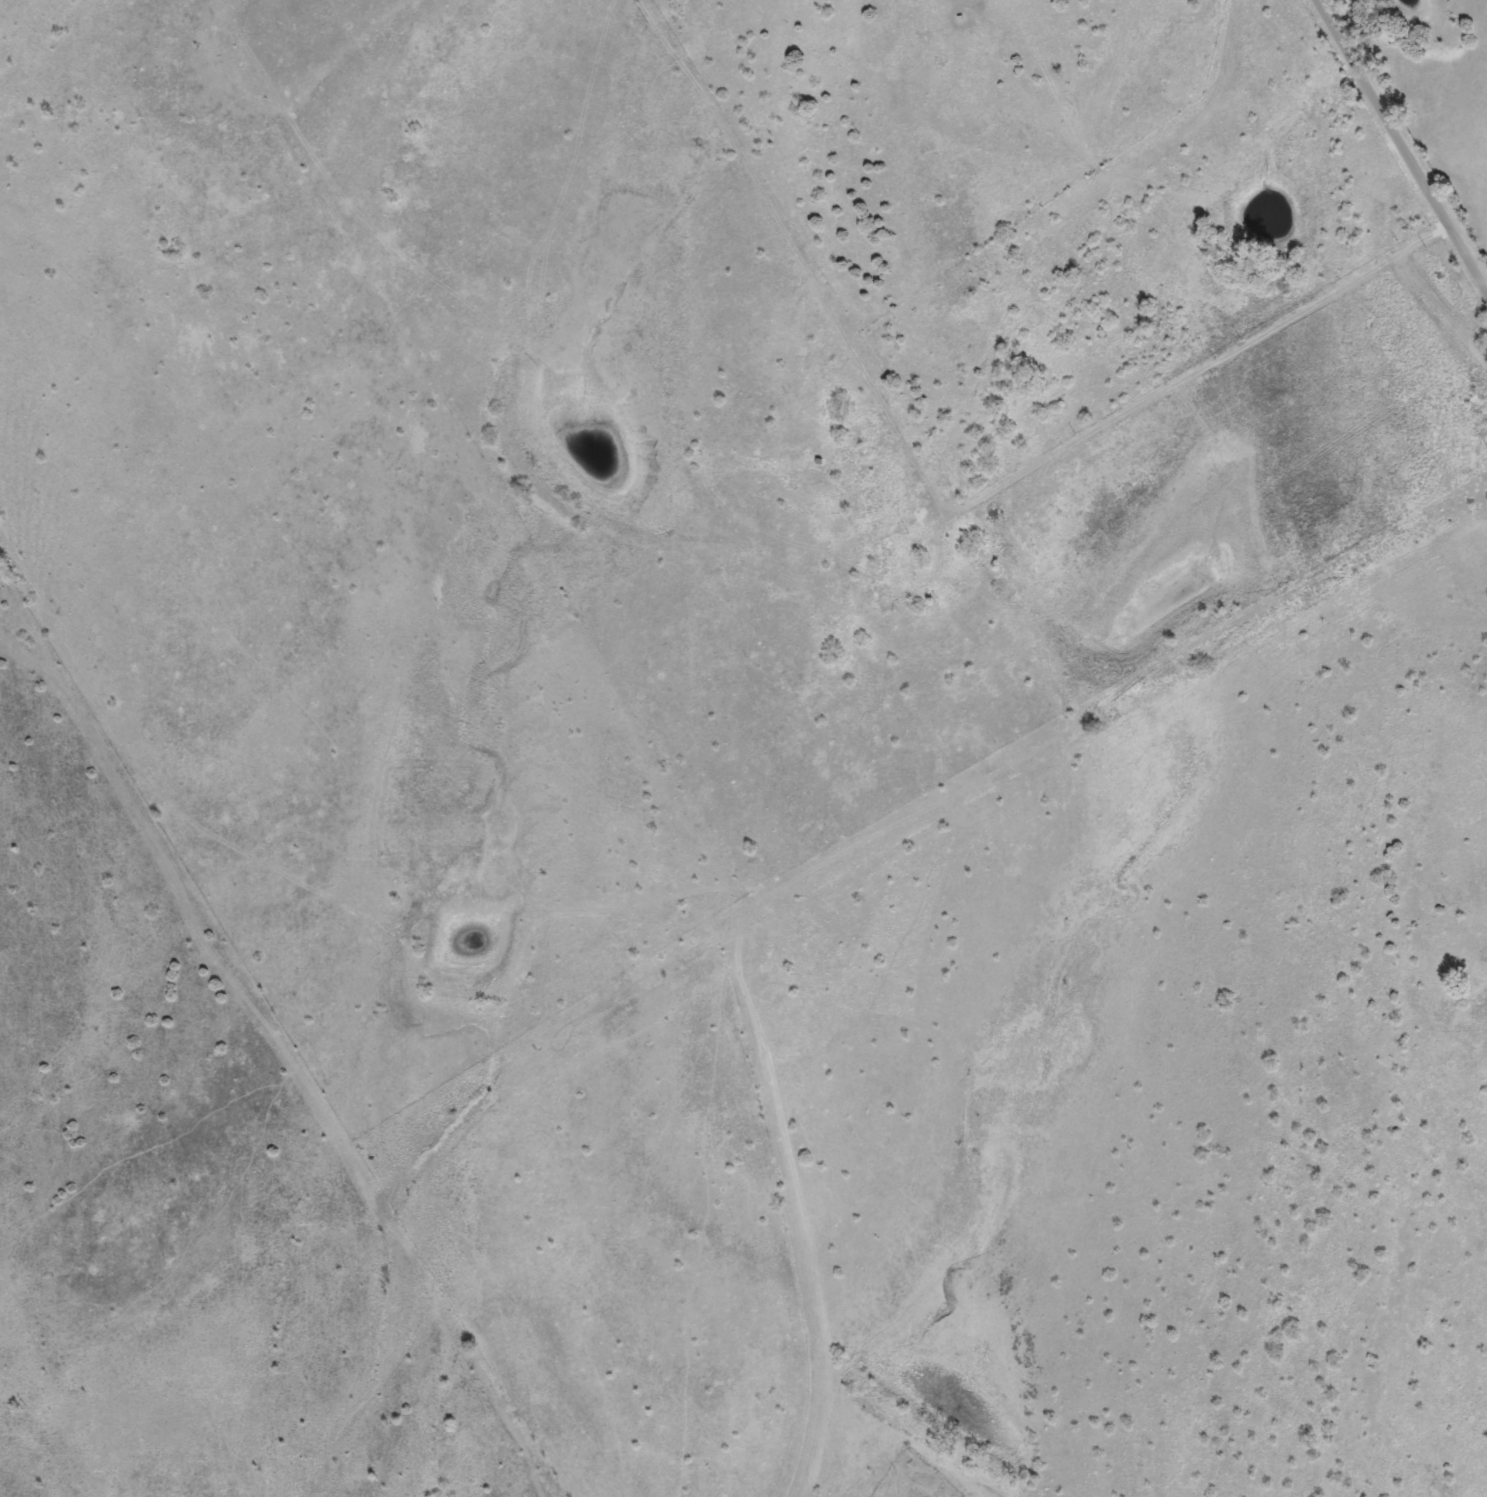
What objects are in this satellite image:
road: (1399, 147)
road: (1258, 337)
building: (902, 565)

